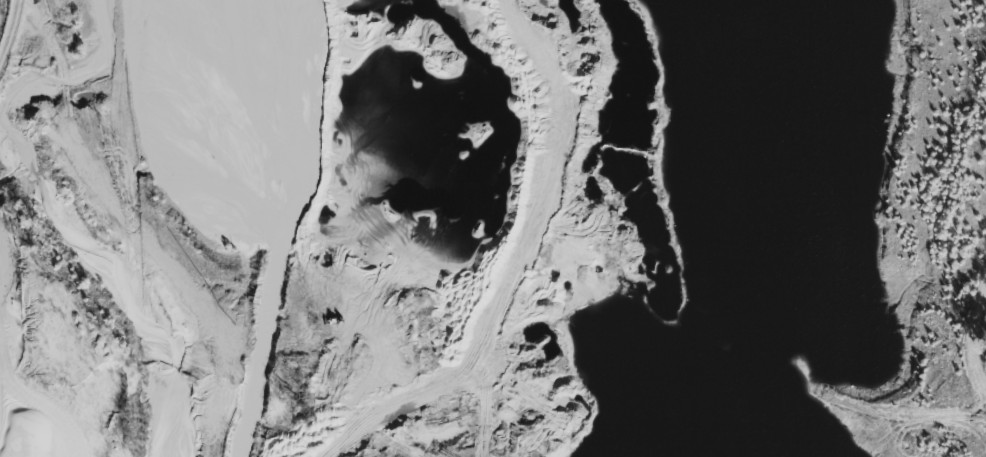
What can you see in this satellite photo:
road: (8, 23)
road: (514, 267)

